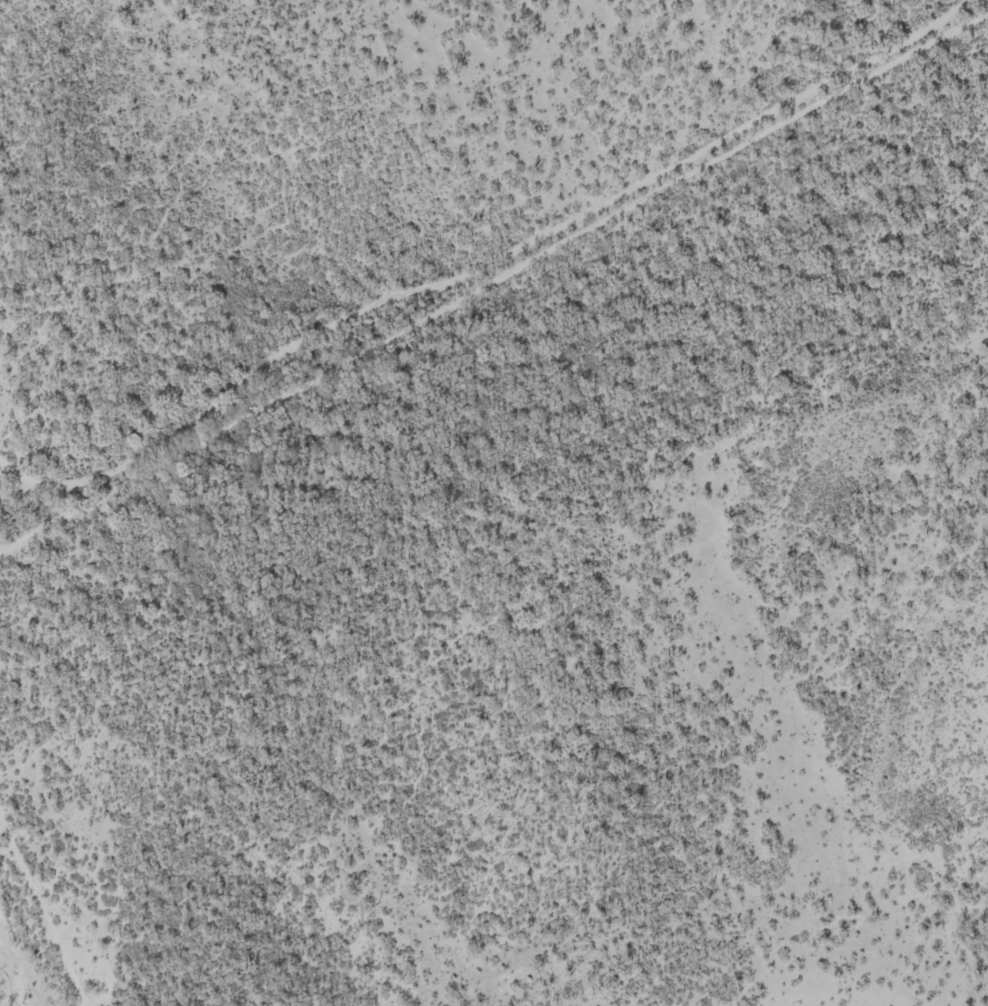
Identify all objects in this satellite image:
road: (493, 272)

